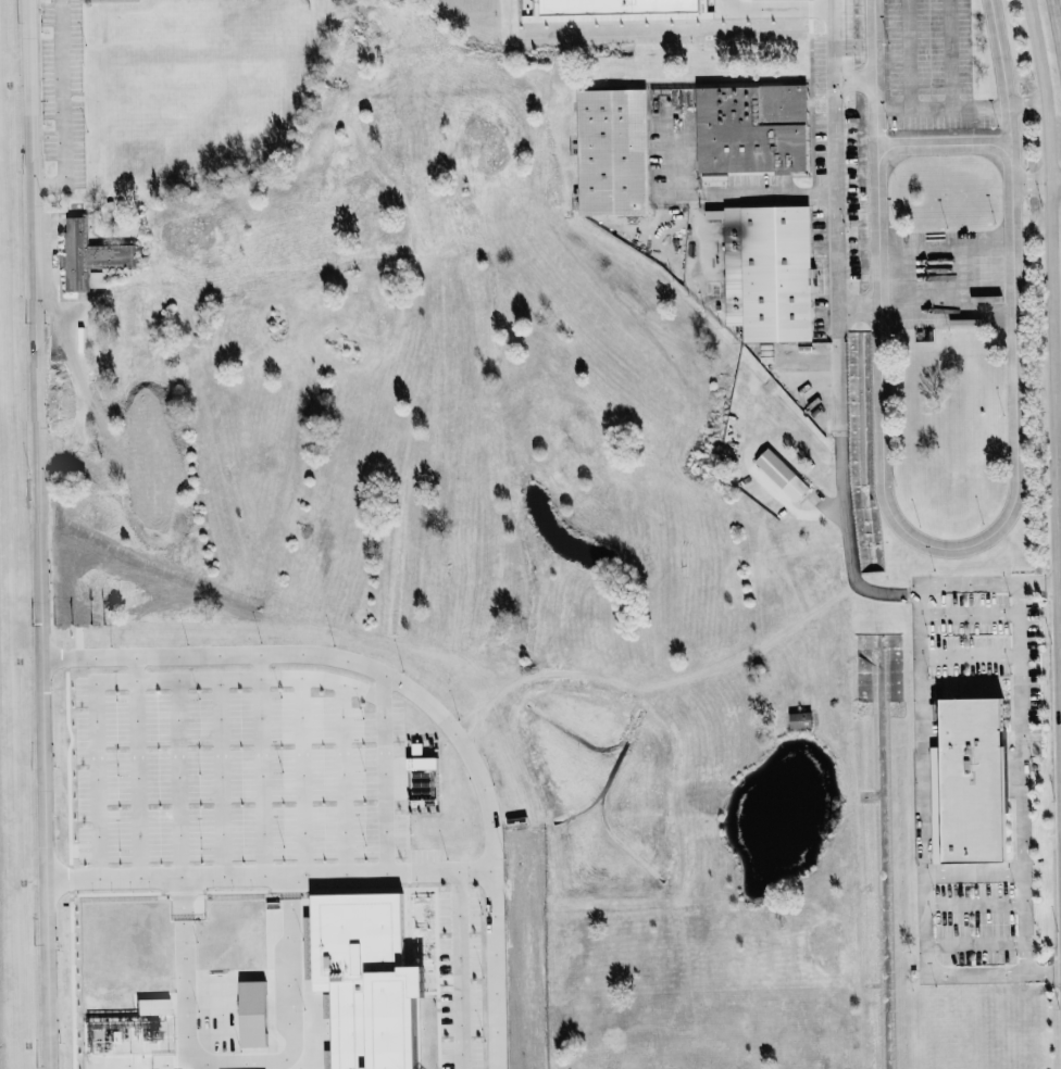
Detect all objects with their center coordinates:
building: (615, 5)
road: (775, 8)
road: (1056, 26)
parking lot: (926, 62)
road: (1026, 103)
road: (62, 106)
building: (752, 128)
road: (837, 147)
road: (944, 147)
building: (612, 152)
parking lot: (838, 156)
road: (1033, 181)
road: (1056, 181)
road: (714, 190)
building: (90, 256)
building: (767, 272)
road: (1053, 345)
road: (839, 471)
building: (782, 474)
road: (38, 534)
road: (951, 549)
road: (240, 678)
road: (421, 699)
building: (800, 719)
road: (260, 765)
road: (138, 767)
parking lot: (237, 767)
road: (383, 774)
road: (922, 774)
road: (302, 776)
road: (182, 778)
road: (221, 778)
building: (423, 778)
road: (1022, 778)
road: (342, 779)
road: (99, 781)
building: (969, 782)
parking lot: (423, 865)
road: (270, 876)
road: (459, 970)
building: (364, 979)
parking lot: (459, 980)
building: (152, 1006)
building: (252, 1014)
road: (235, 1062)

